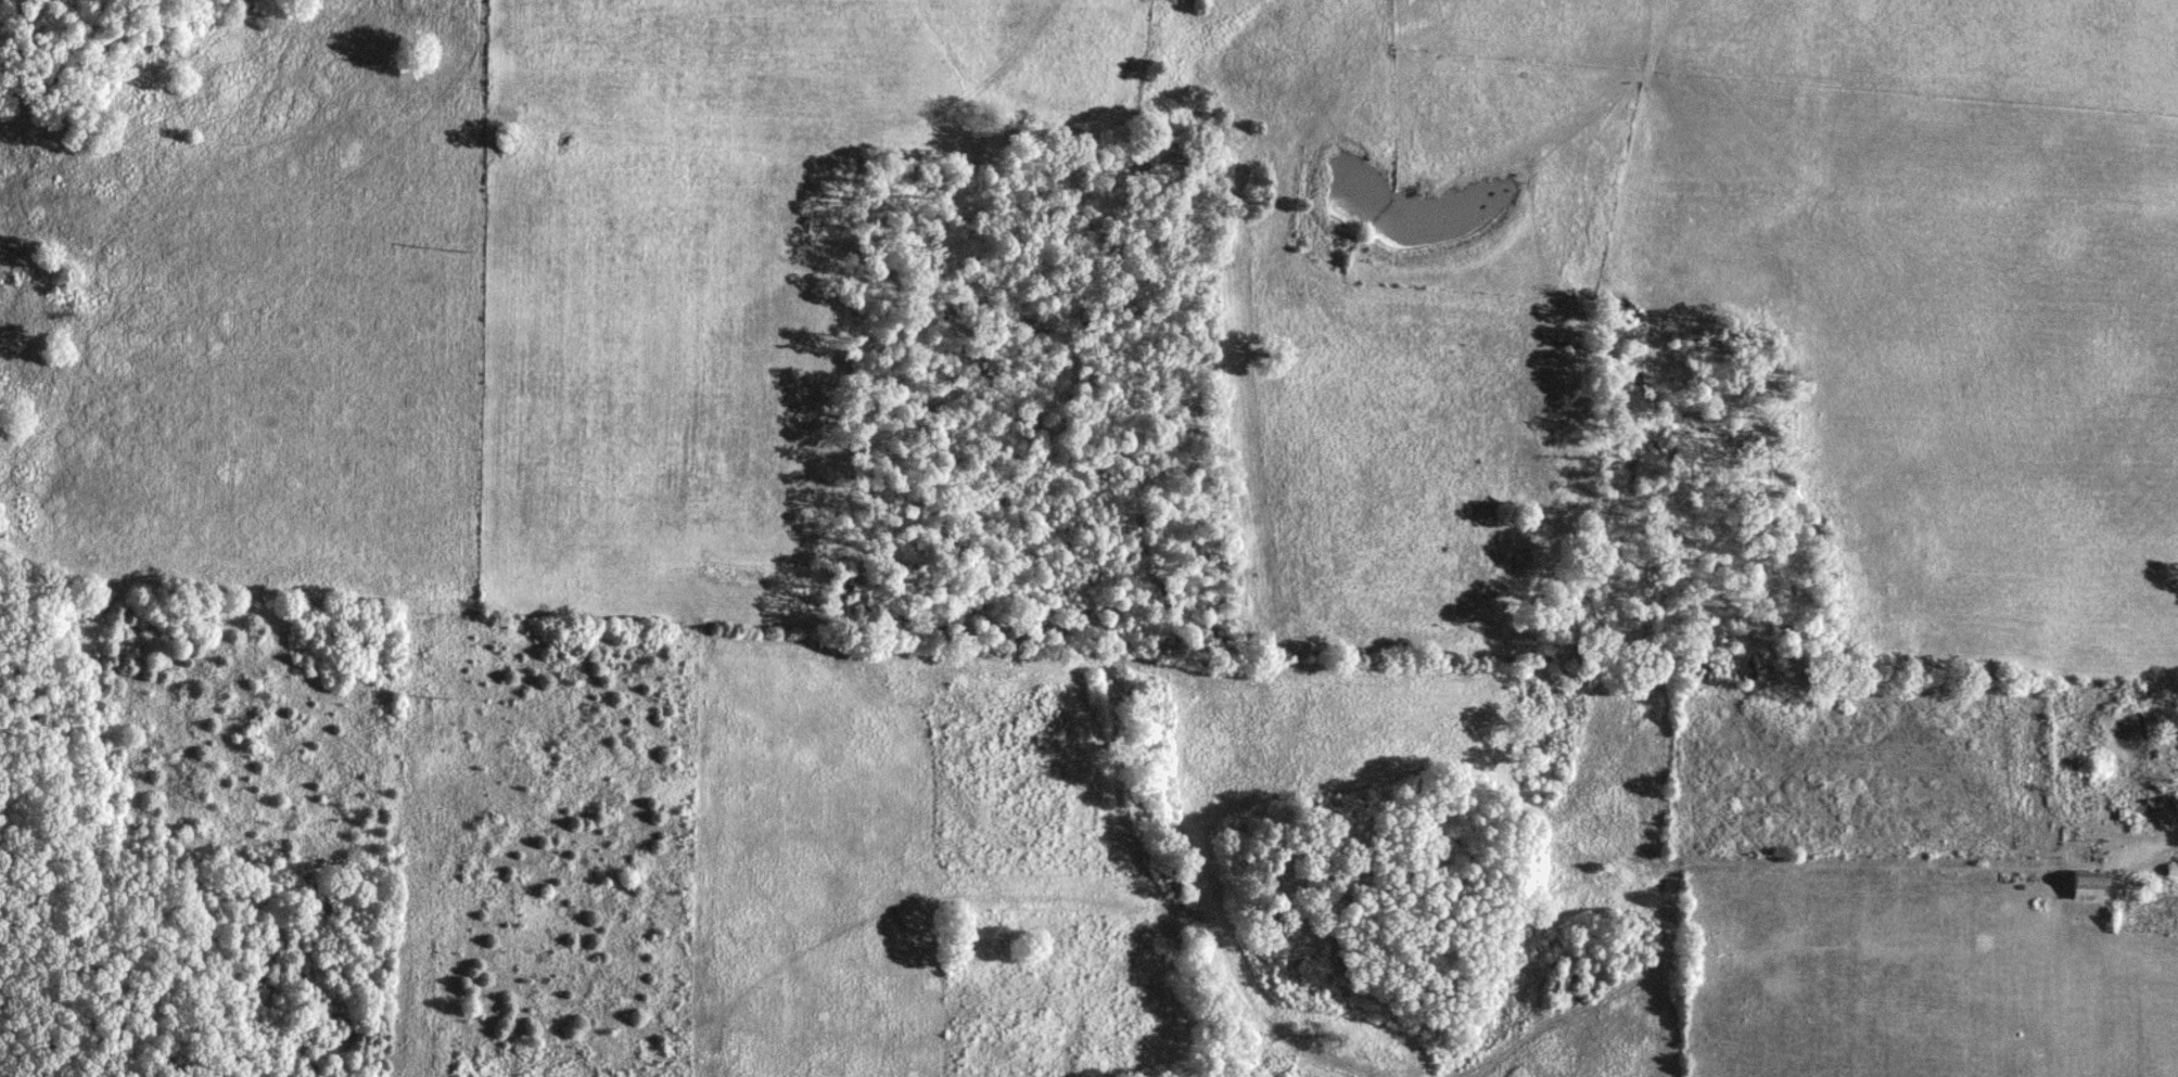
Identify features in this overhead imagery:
building: (2089, 887)

